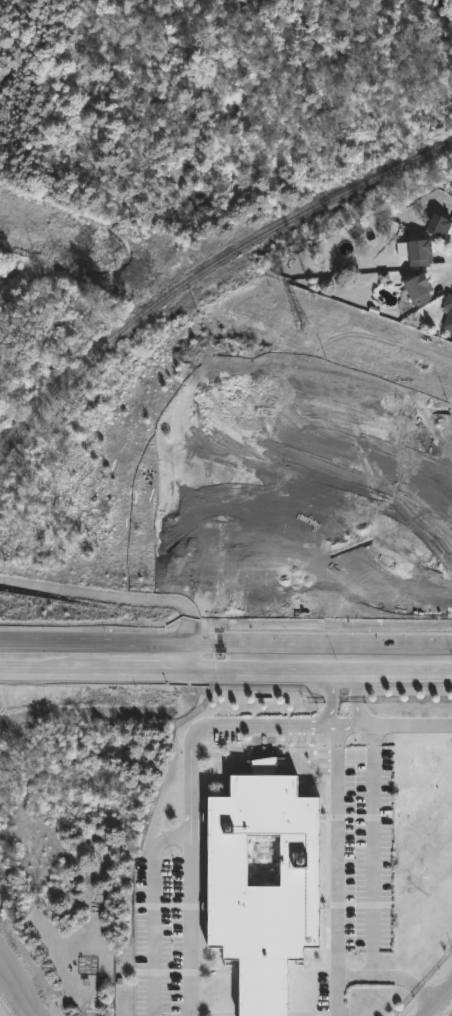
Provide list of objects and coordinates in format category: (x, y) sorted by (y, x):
park: (210, 99)
building: (435, 225)
building: (414, 250)
railway: (206, 267)
building: (415, 288)
building: (447, 311)
power tower: (302, 328)
road: (110, 595)
road: (94, 643)
road: (320, 644)
road: (189, 655)
road: (95, 668)
road: (320, 670)
road: (330, 696)
road: (359, 696)
road: (111, 711)
road: (344, 722)
road: (411, 725)
road: (191, 814)
building: (263, 882)
road: (373, 882)
road: (339, 979)
road: (441, 1004)

